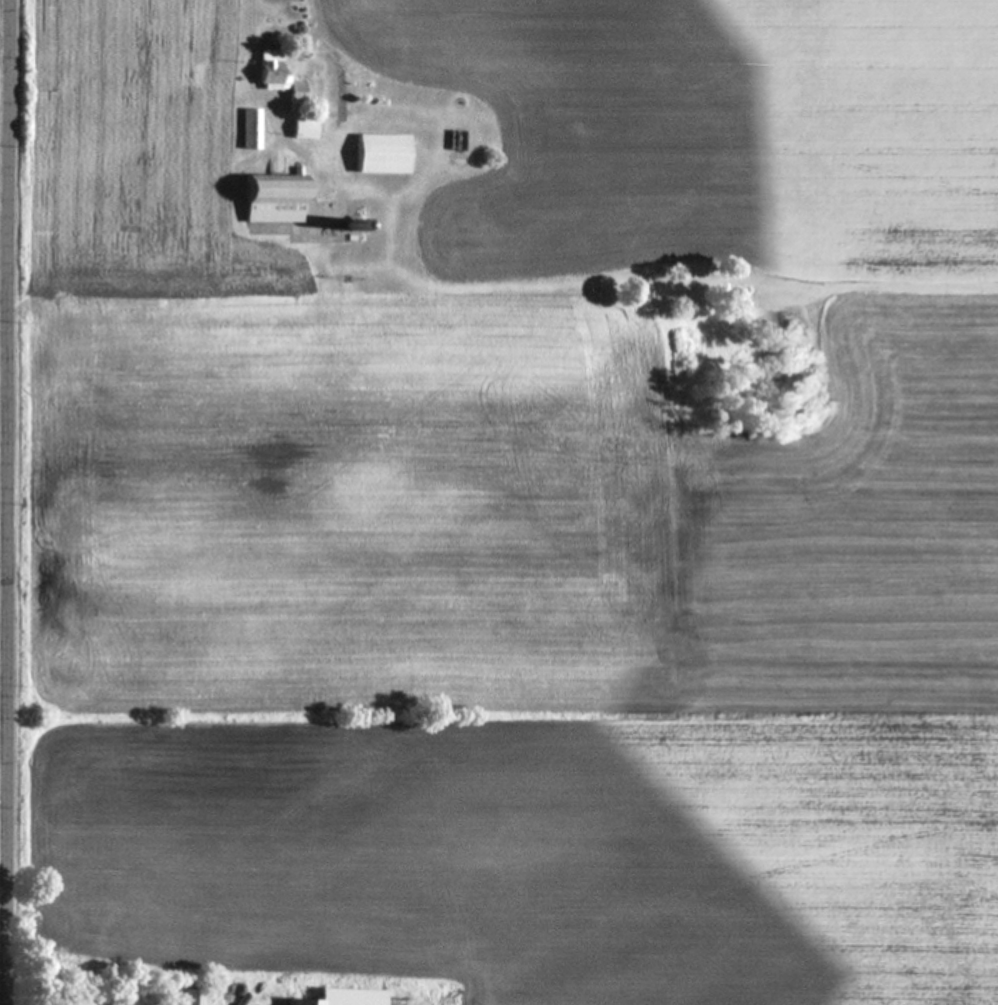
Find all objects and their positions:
road: (245, 68)
building: (273, 74)
building: (250, 129)
building: (380, 153)
road: (8, 502)
building: (190, 997)
building: (341, 997)

